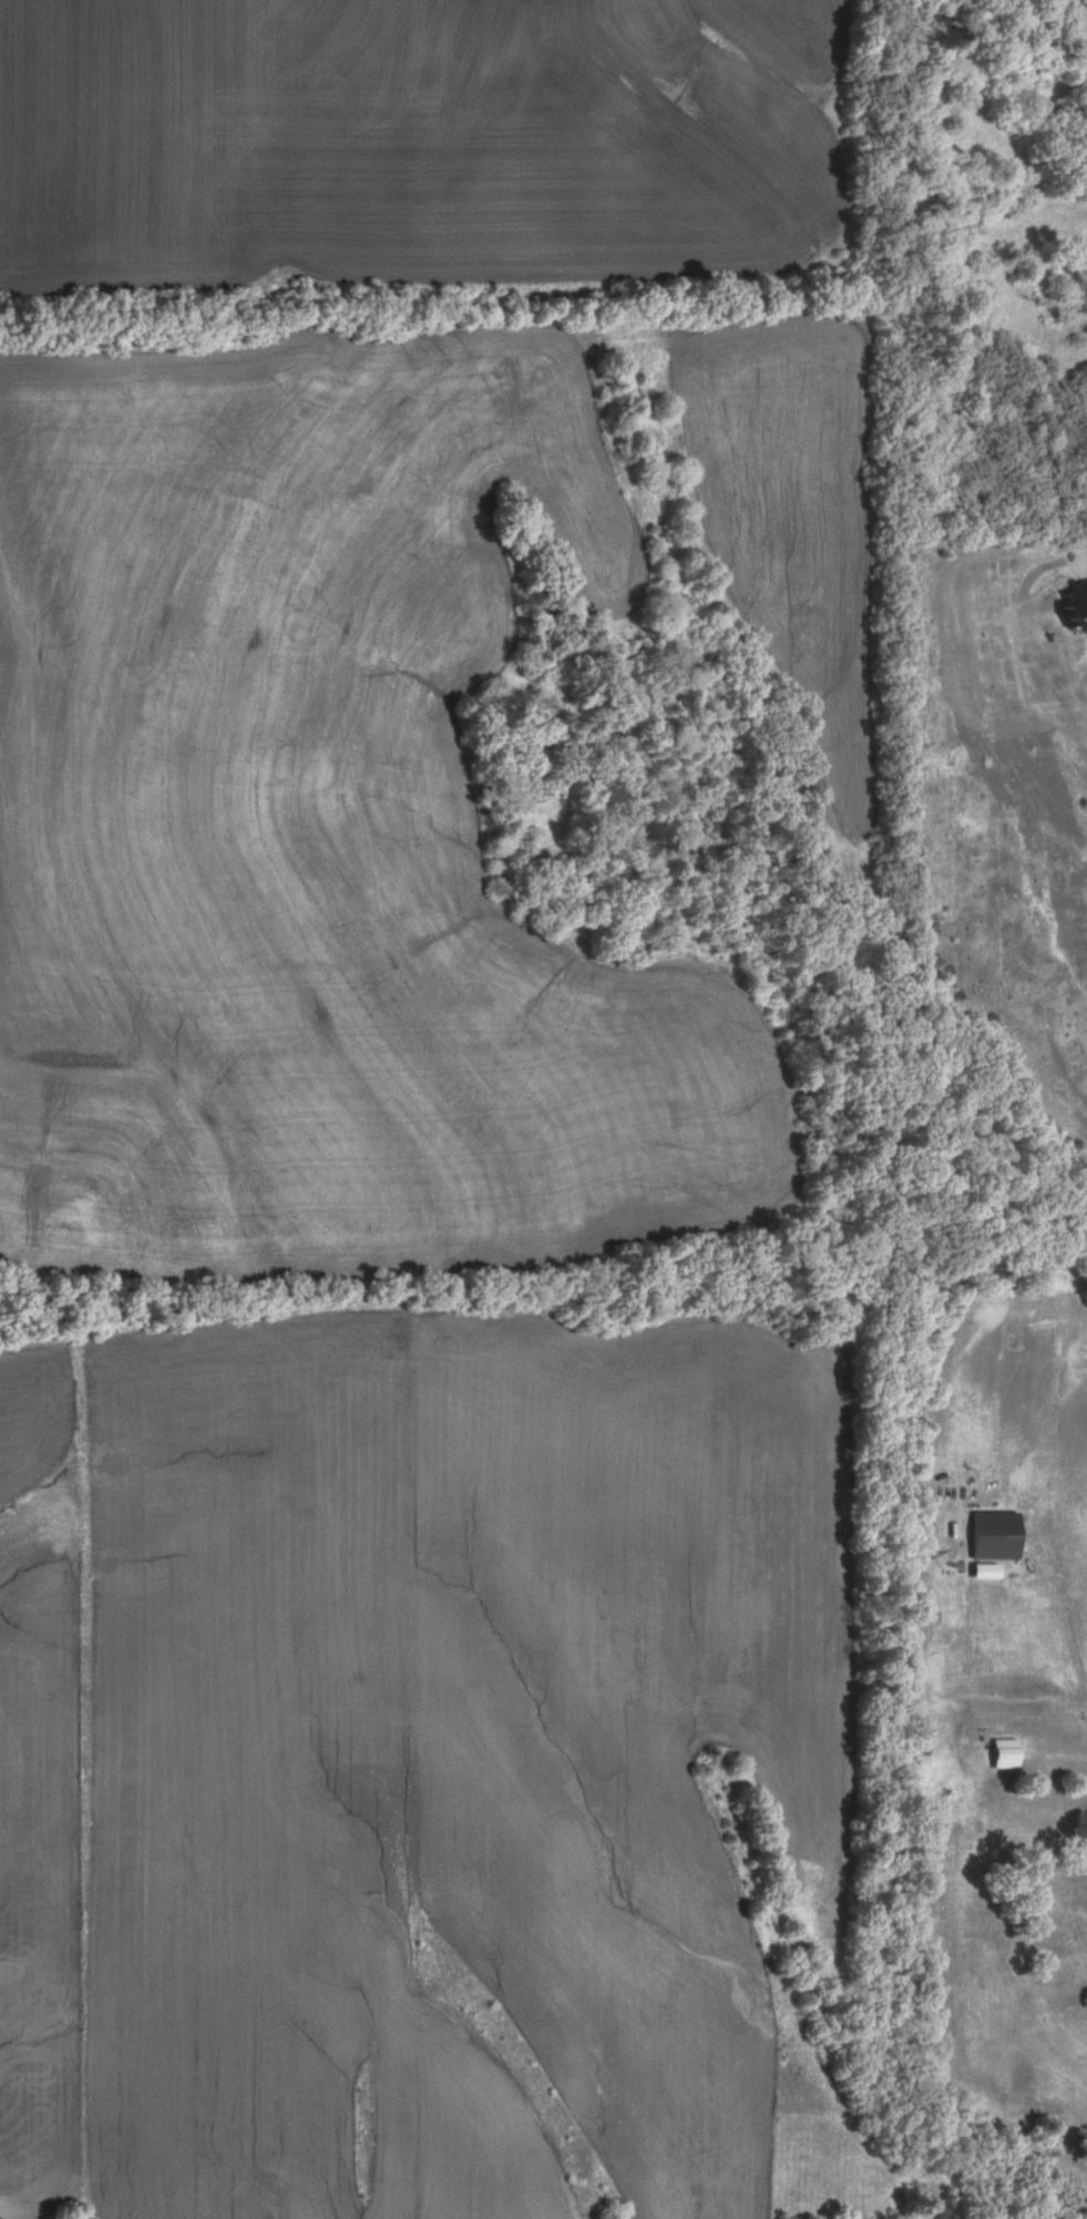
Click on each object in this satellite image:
crop: (791, 532)
road: (1080, 559)
crop: (325, 837)
crop: (453, 1749)
building: (997, 1755)
crop: (44, 1789)

